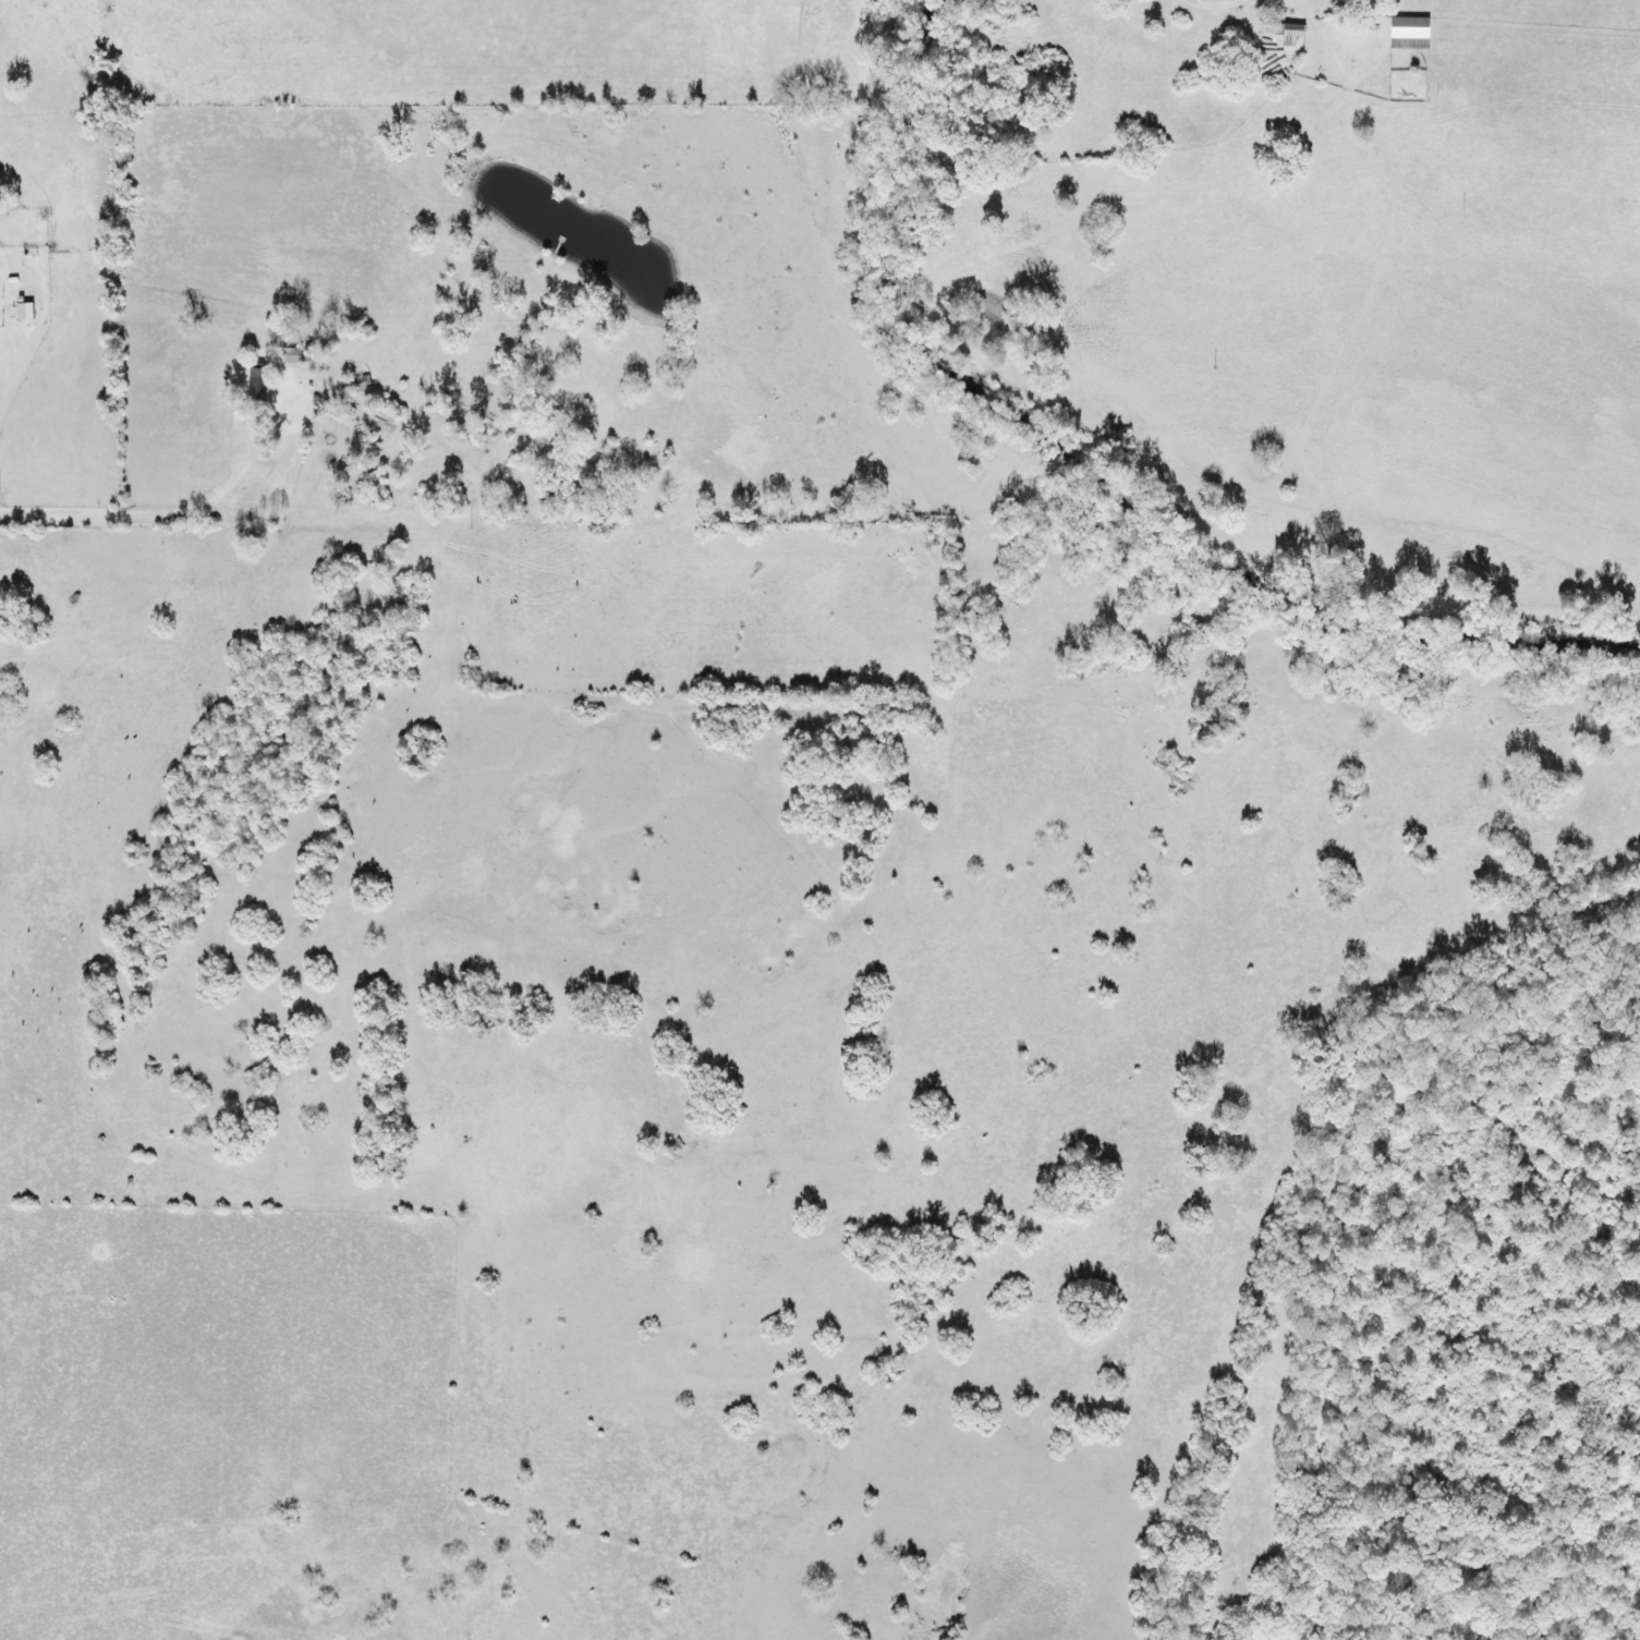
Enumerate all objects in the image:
building: (1410, 33)
building: (1290, 35)
building: (290, 355)
building: (256, 382)
building: (362, 384)
road: (63, 509)

